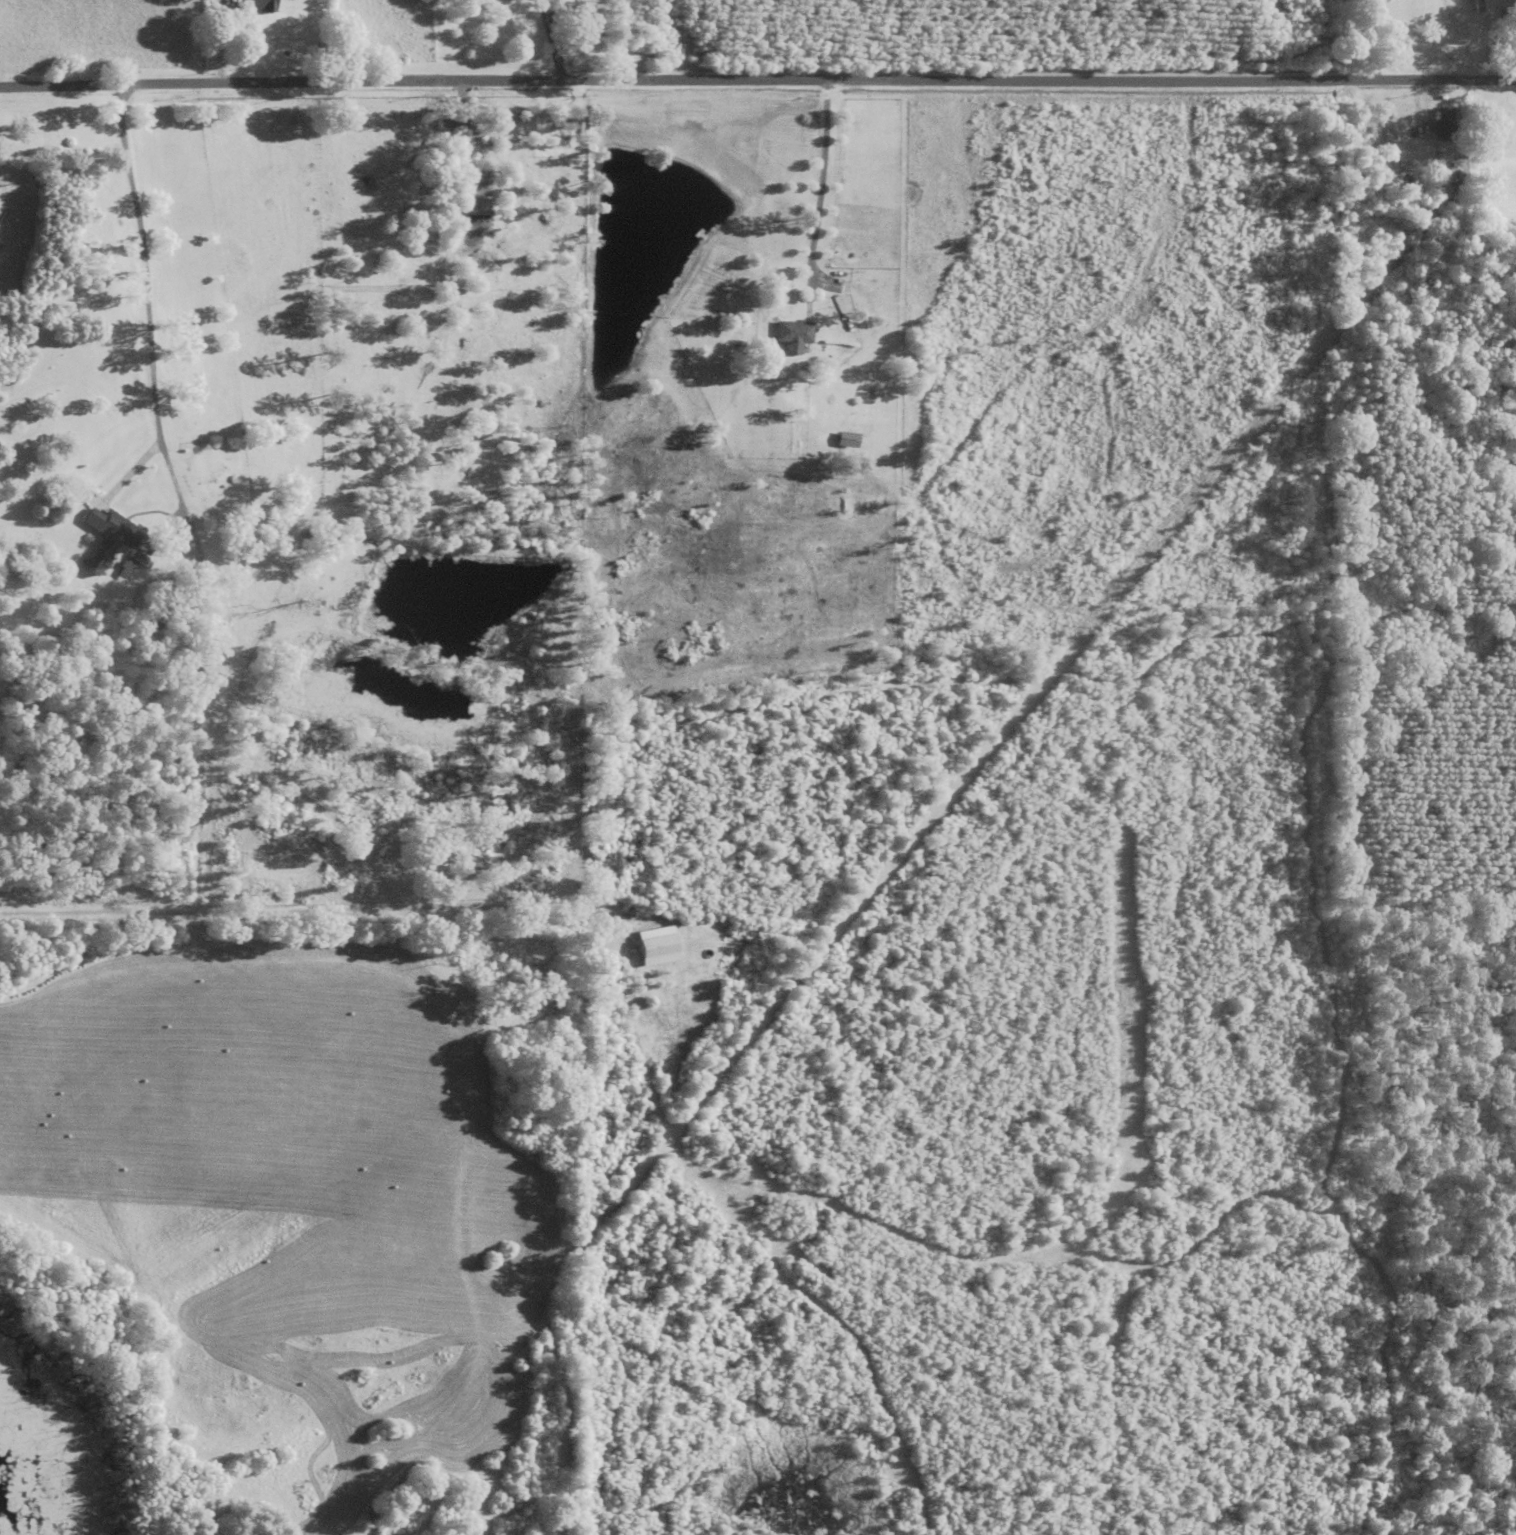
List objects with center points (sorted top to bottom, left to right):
building: (259, 6)
road: (757, 76)
road: (819, 178)
building: (479, 259)
road: (156, 274)
building: (791, 336)
building: (844, 440)
building: (129, 562)

